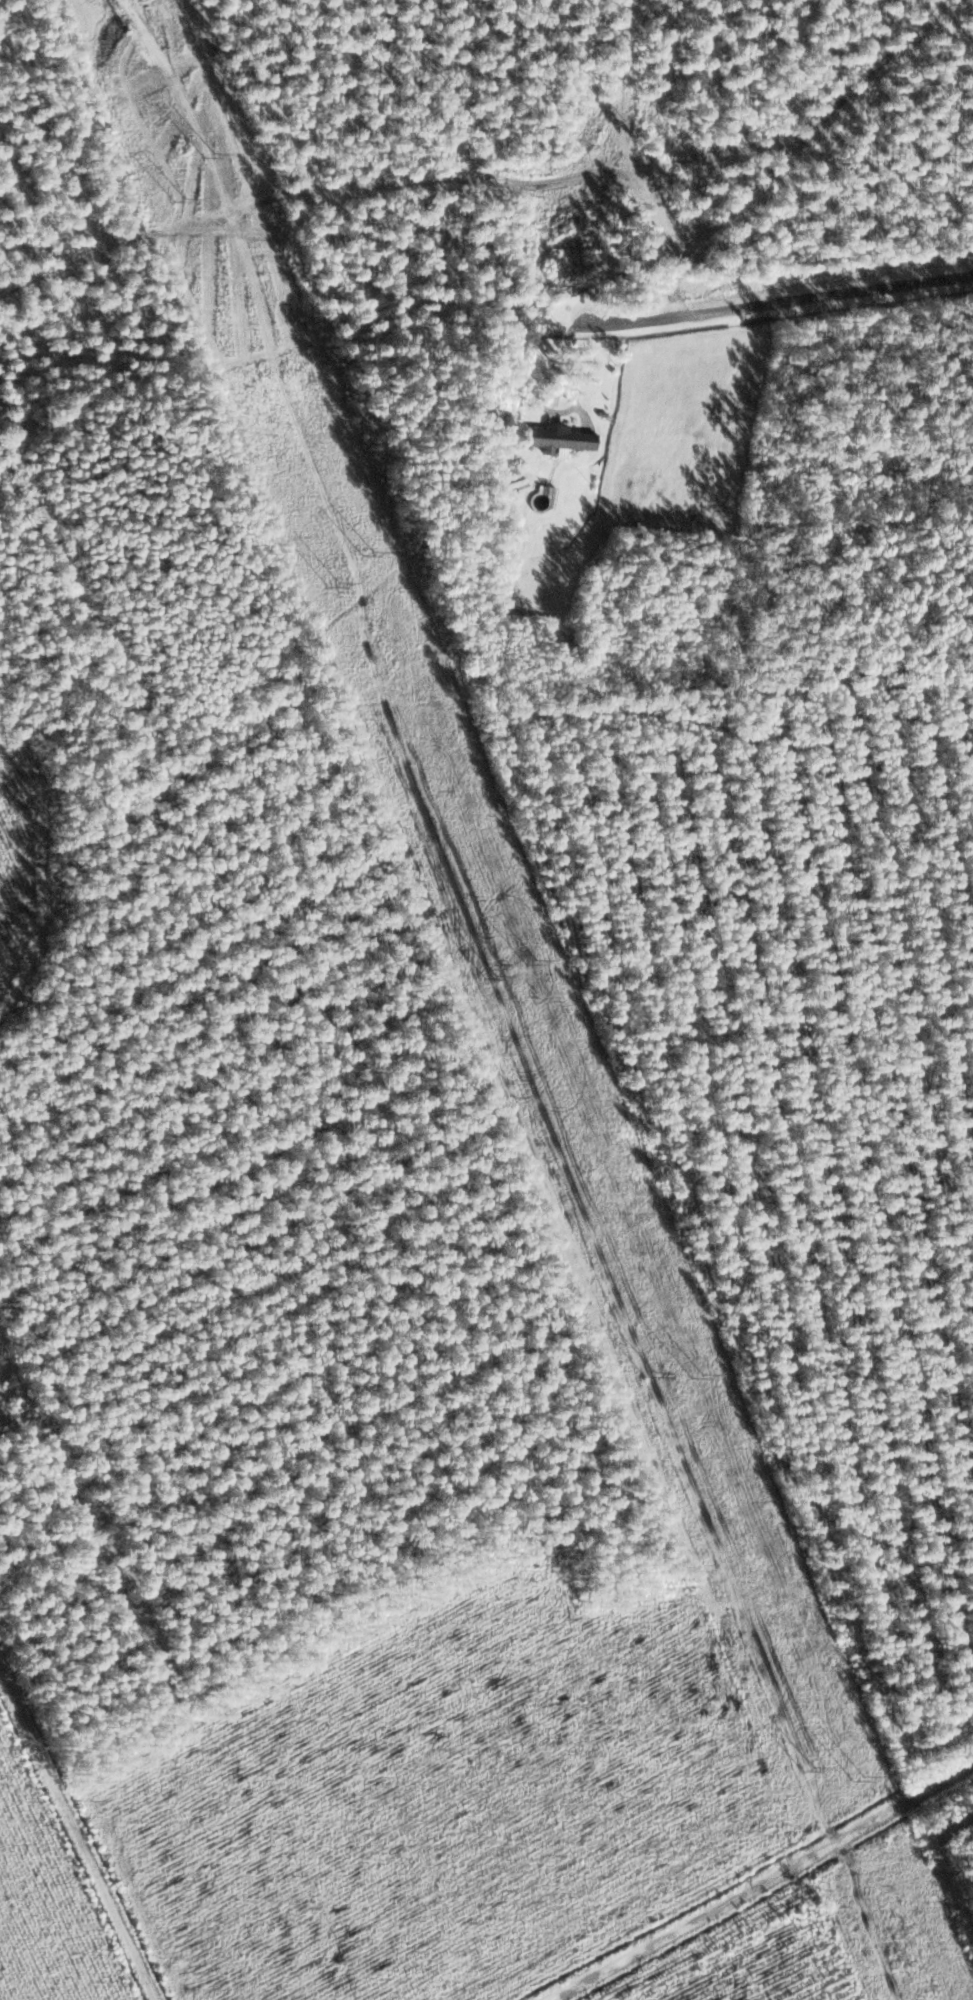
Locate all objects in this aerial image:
power tower: (210, 154)
power tower: (181, 200)
road: (755, 297)
building: (559, 439)
power tower: (369, 553)
power tower: (333, 583)
power tower: (529, 961)
power tower: (491, 976)
power tower: (696, 1375)
power tower: (654, 1378)
power tower: (808, 1770)
power tower: (861, 1779)
road: (90, 1792)
road: (758, 1883)

